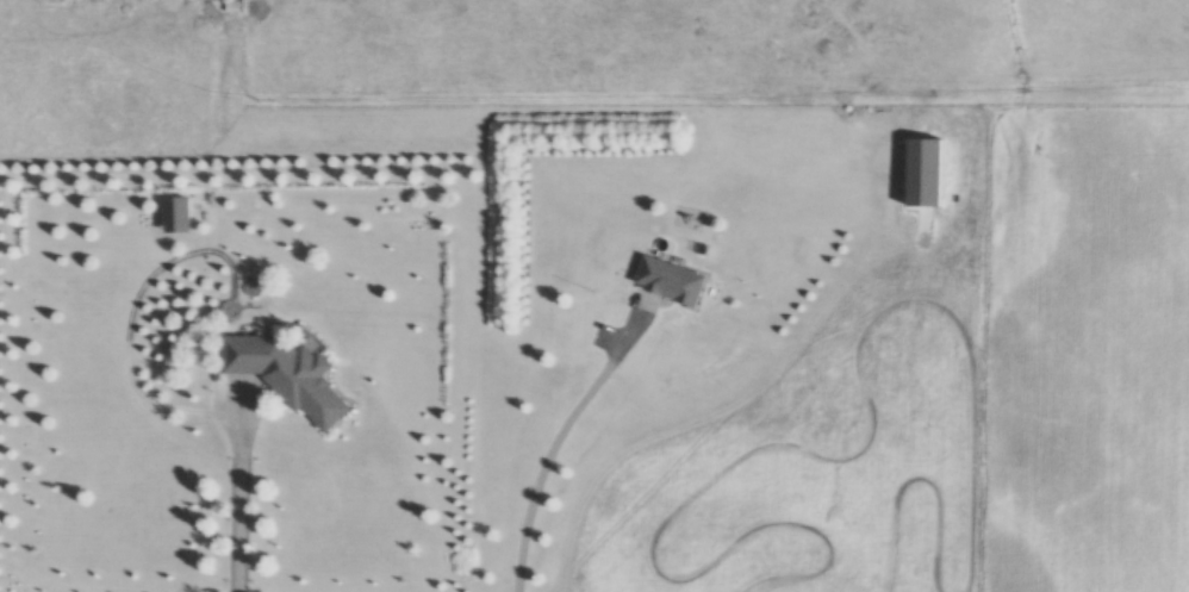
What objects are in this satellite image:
building: (670, 282)
building: (287, 376)
road: (558, 440)
road: (239, 506)

